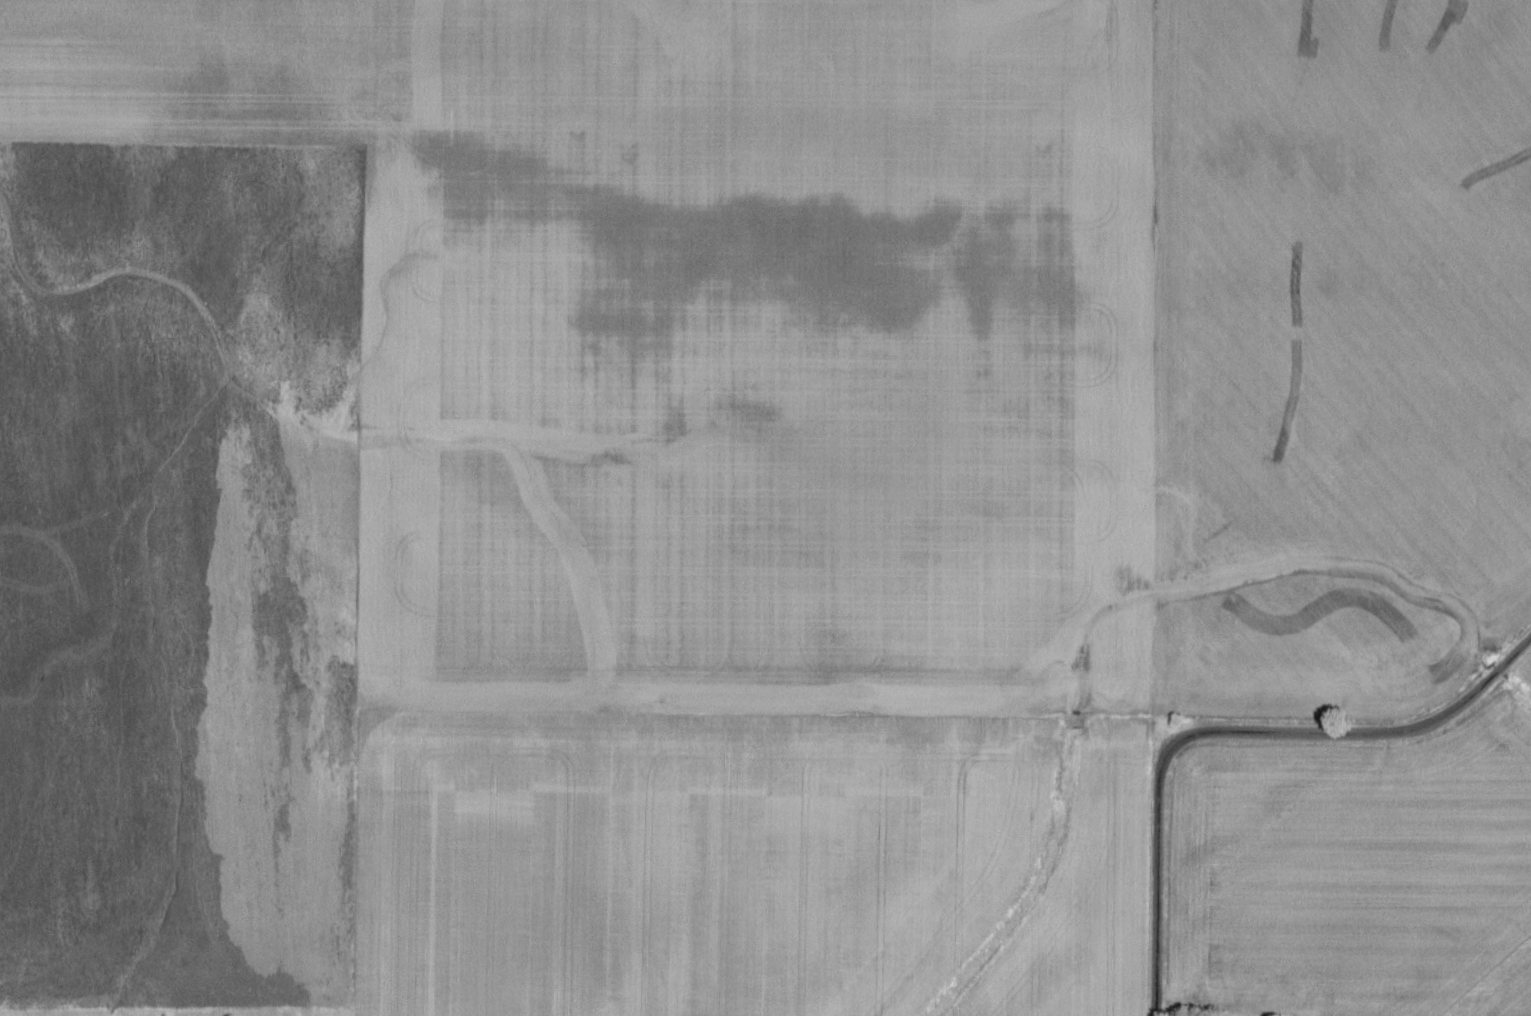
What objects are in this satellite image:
road: (1228, 731)

